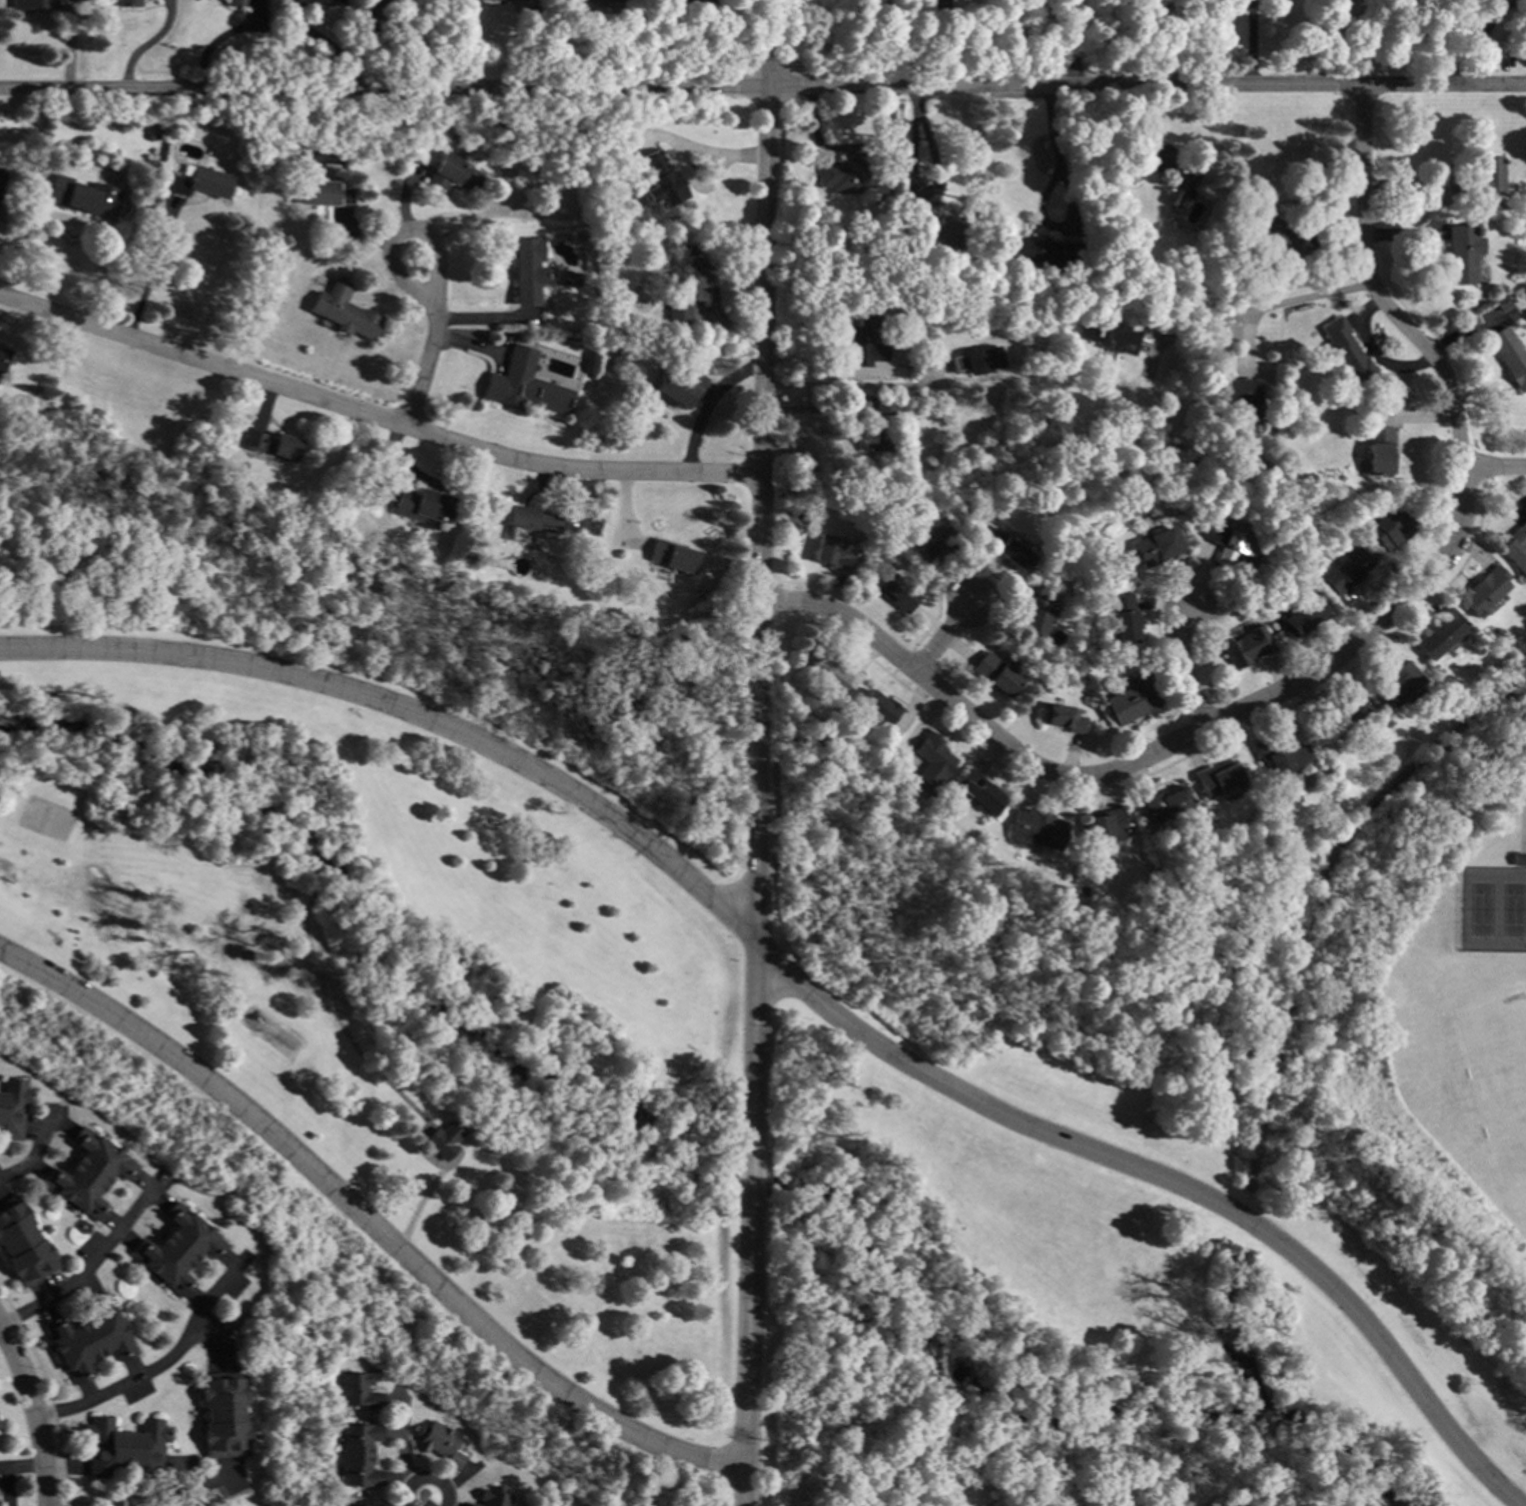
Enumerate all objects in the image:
building: (382, 0)
building: (480, 0)
building: (614, 0)
building: (237, 2)
building: (416, 2)
building: (128, 3)
building: (293, 3)
building: (34, 4)
building: (698, 5)
road: (1481, 28)
road: (1441, 37)
road: (219, 40)
road: (1166, 42)
road: (1250, 42)
road: (1328, 42)
road: (1076, 43)
road: (147, 46)
road: (763, 88)
building: (455, 173)
building: (851, 175)
building: (1481, 177)
building: (659, 180)
building: (203, 182)
road: (913, 184)
building: (1176, 186)
building: (325, 193)
building: (84, 197)
road: (1066, 198)
building: (935, 225)
road: (404, 229)
building: (1270, 237)
building: (1038, 252)
building: (1461, 253)
building: (528, 270)
building: (1080, 276)
building: (1103, 278)
building: (568, 279)
building: (687, 283)
road: (1373, 289)
building: (1502, 302)
building: (343, 310)
road: (1260, 311)
building: (1070, 325)
building: (1110, 336)
building: (864, 341)
building: (1344, 353)
building: (1510, 355)
building: (2, 359)
building: (975, 360)
road: (426, 365)
building: (523, 385)
building: (678, 386)
road: (845, 388)
building: (884, 406)
building: (1237, 407)
road: (374, 414)
building: (871, 438)
building: (270, 443)
building: (1377, 450)
road: (1496, 466)
building: (1305, 478)
building: (422, 507)
building: (532, 519)
building: (1389, 528)
building: (930, 540)
building: (1226, 543)
building: (1154, 546)
building: (1515, 548)
building: (1007, 549)
building: (832, 554)
building: (673, 556)
building: (1346, 571)
road: (758, 572)
building: (1481, 590)
building: (895, 591)
building: (1036, 613)
building: (1300, 617)
building: (1121, 619)
building: (1436, 634)
road: (940, 637)
building: (1246, 646)
building: (831, 669)
road: (1212, 670)
building: (994, 674)
building: (1395, 683)
building: (1132, 699)
building: (876, 708)
building: (1338, 715)
building: (1062, 717)
building: (1278, 754)
road: (1151, 756)
building: (930, 760)
building: (1217, 779)
building: (977, 792)
building: (1161, 804)
park: (45, 819)
building: (1105, 826)
building: (1035, 829)
building: (1511, 861)
park: (1490, 907)
park: (400, 945)
road: (803, 985)
river: (553, 1082)
park: (1496, 1085)
building: (12, 1107)
building: (442, 1139)
road: (30, 1152)
building: (88, 1173)
road: (747, 1173)
road: (365, 1219)
park: (1064, 1219)
building: (22, 1244)
building: (176, 1248)
road: (88, 1266)
road: (0, 1328)
building: (88, 1338)
road: (743, 1352)
road: (154, 1366)
building: (358, 1391)
road: (33, 1413)
building: (223, 1414)
building: (438, 1442)
building: (124, 1447)
building: (359, 1454)
road: (24, 1465)
road: (2, 1467)
road: (426, 1476)
road: (205, 1482)
road: (6, 1486)
building: (491, 1497)
building: (371, 1502)

